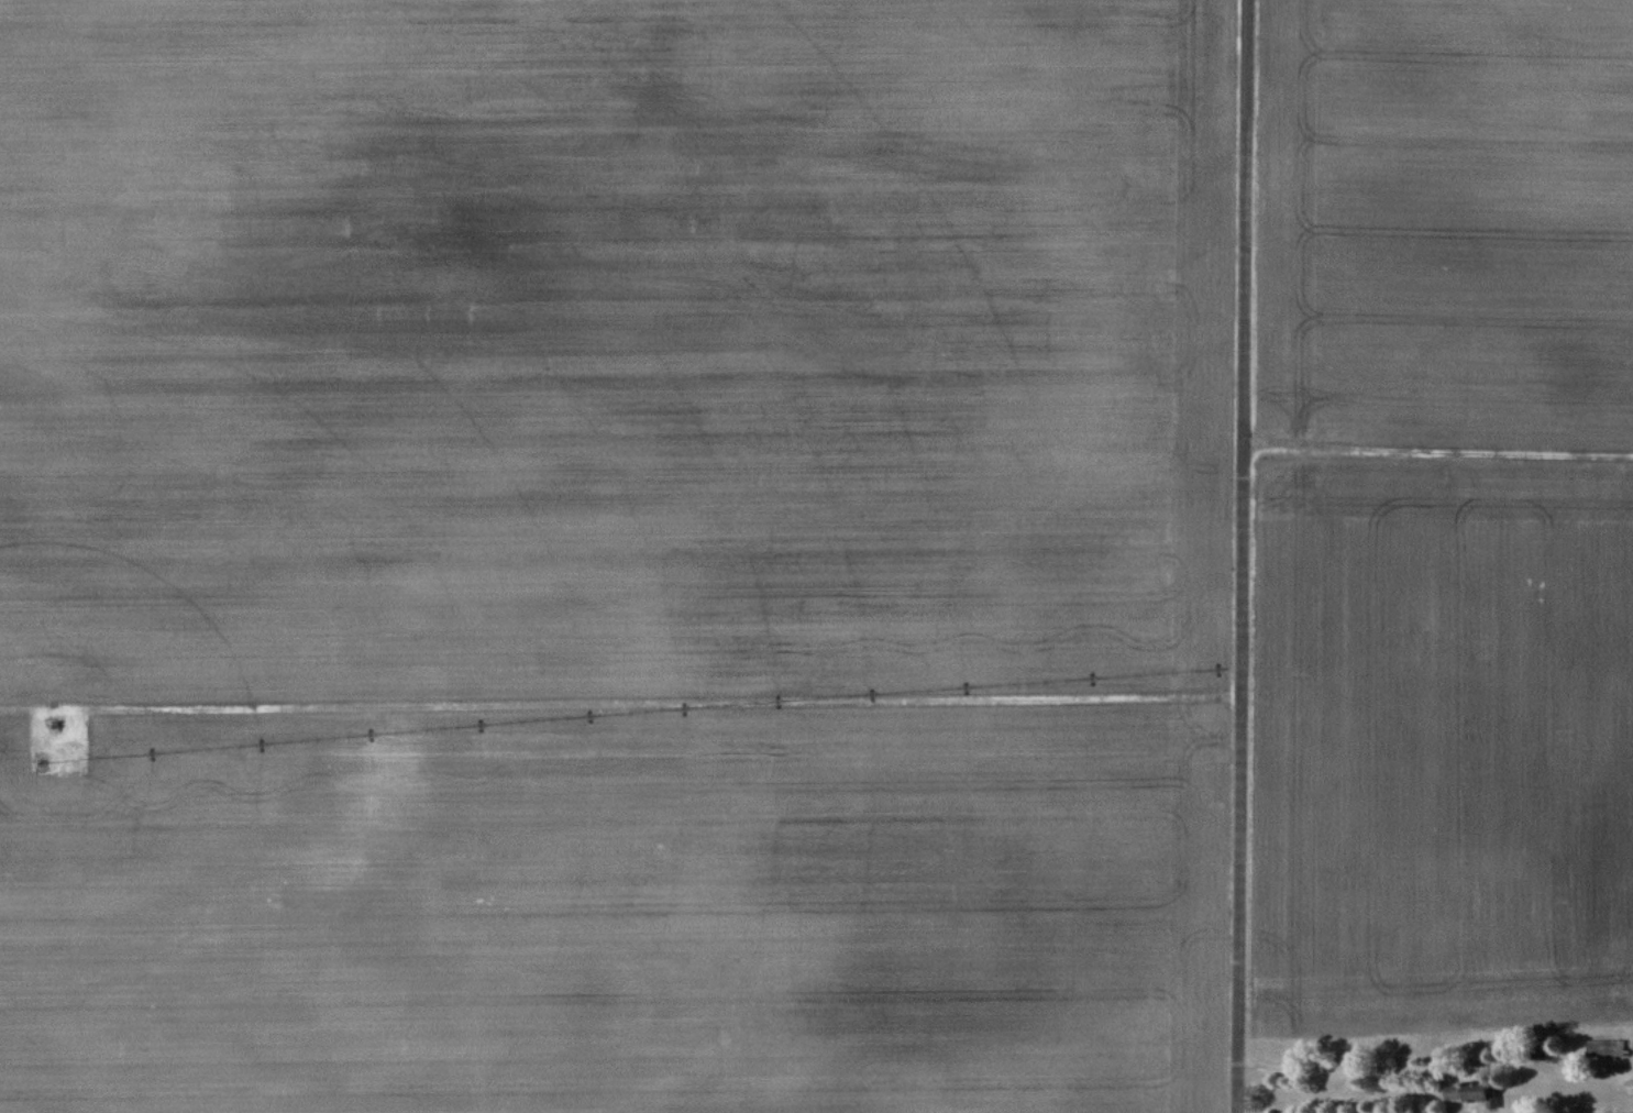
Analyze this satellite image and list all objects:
road: (1234, 556)
building: (1607, 1047)
building: (1474, 1091)

